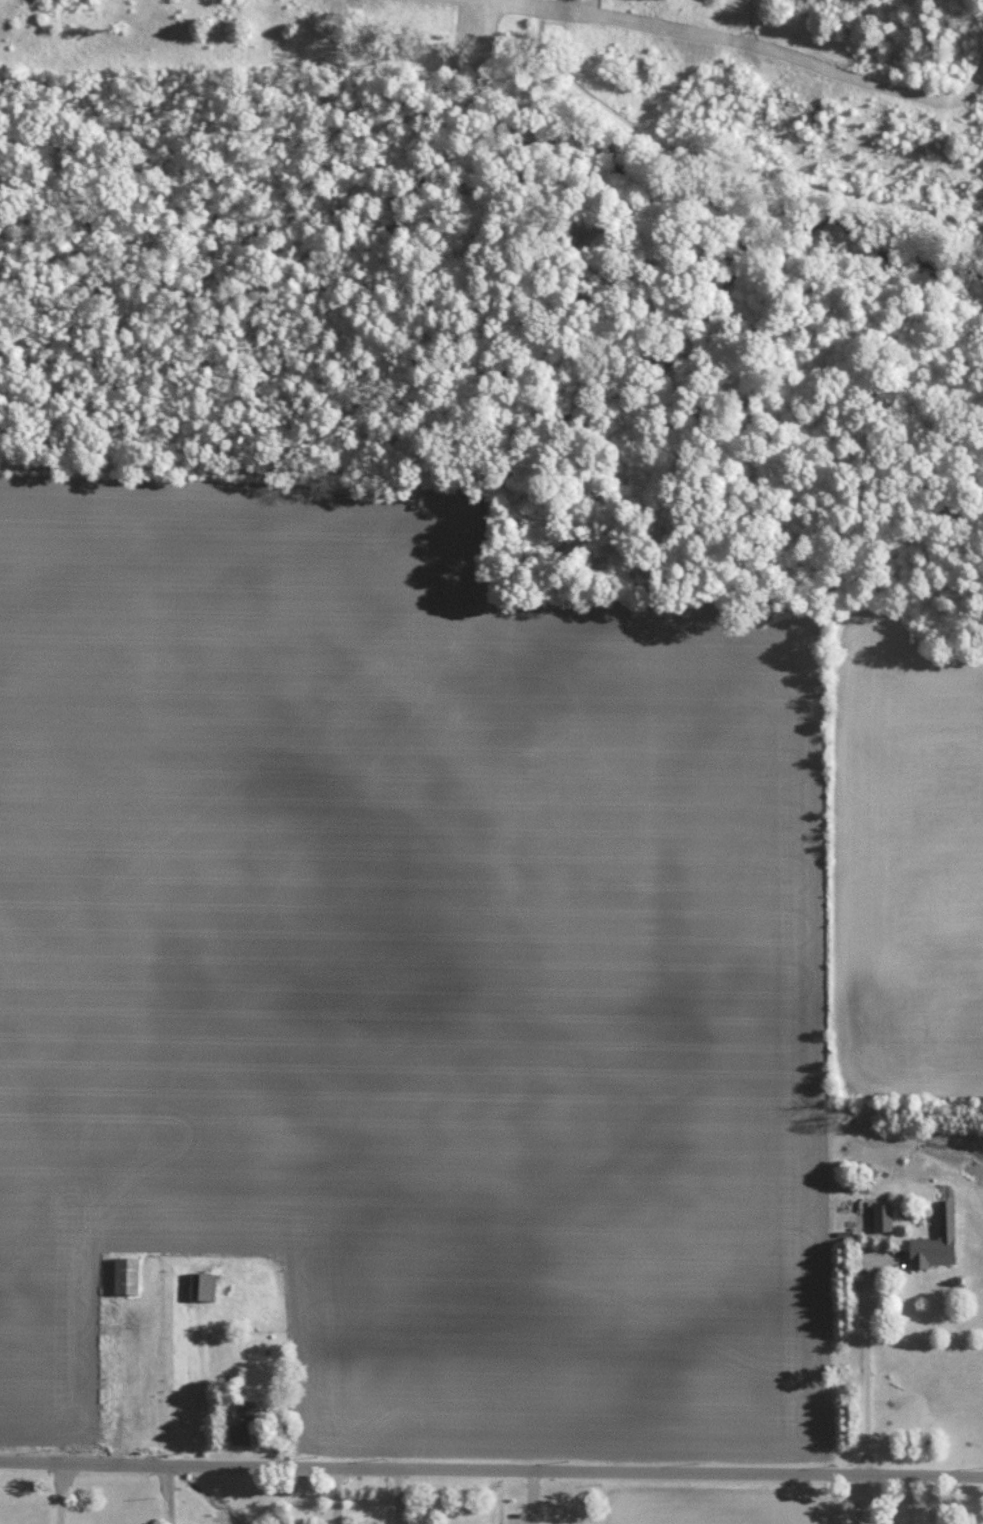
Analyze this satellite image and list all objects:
building: (884, 1216)
building: (937, 1240)
building: (128, 1274)
building: (204, 1285)
road: (868, 1368)
building: (243, 1423)
road: (491, 1470)
road: (62, 1492)
road: (172, 1494)
road: (338, 1495)

